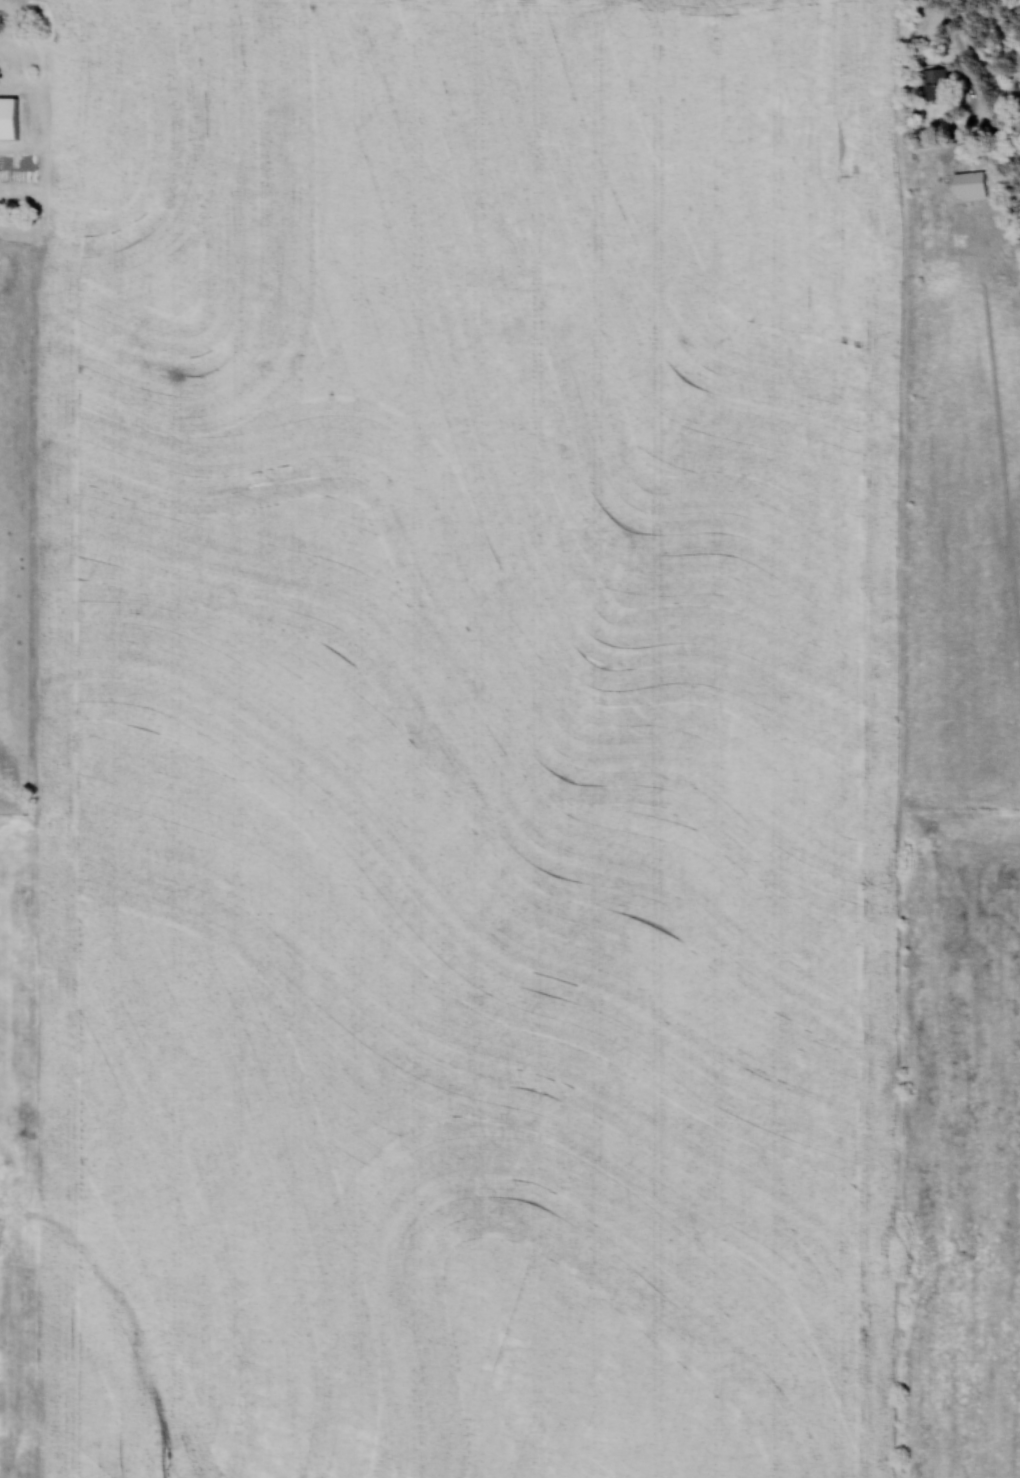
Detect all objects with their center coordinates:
park: (998, 73)
building: (942, 84)
building: (11, 121)

